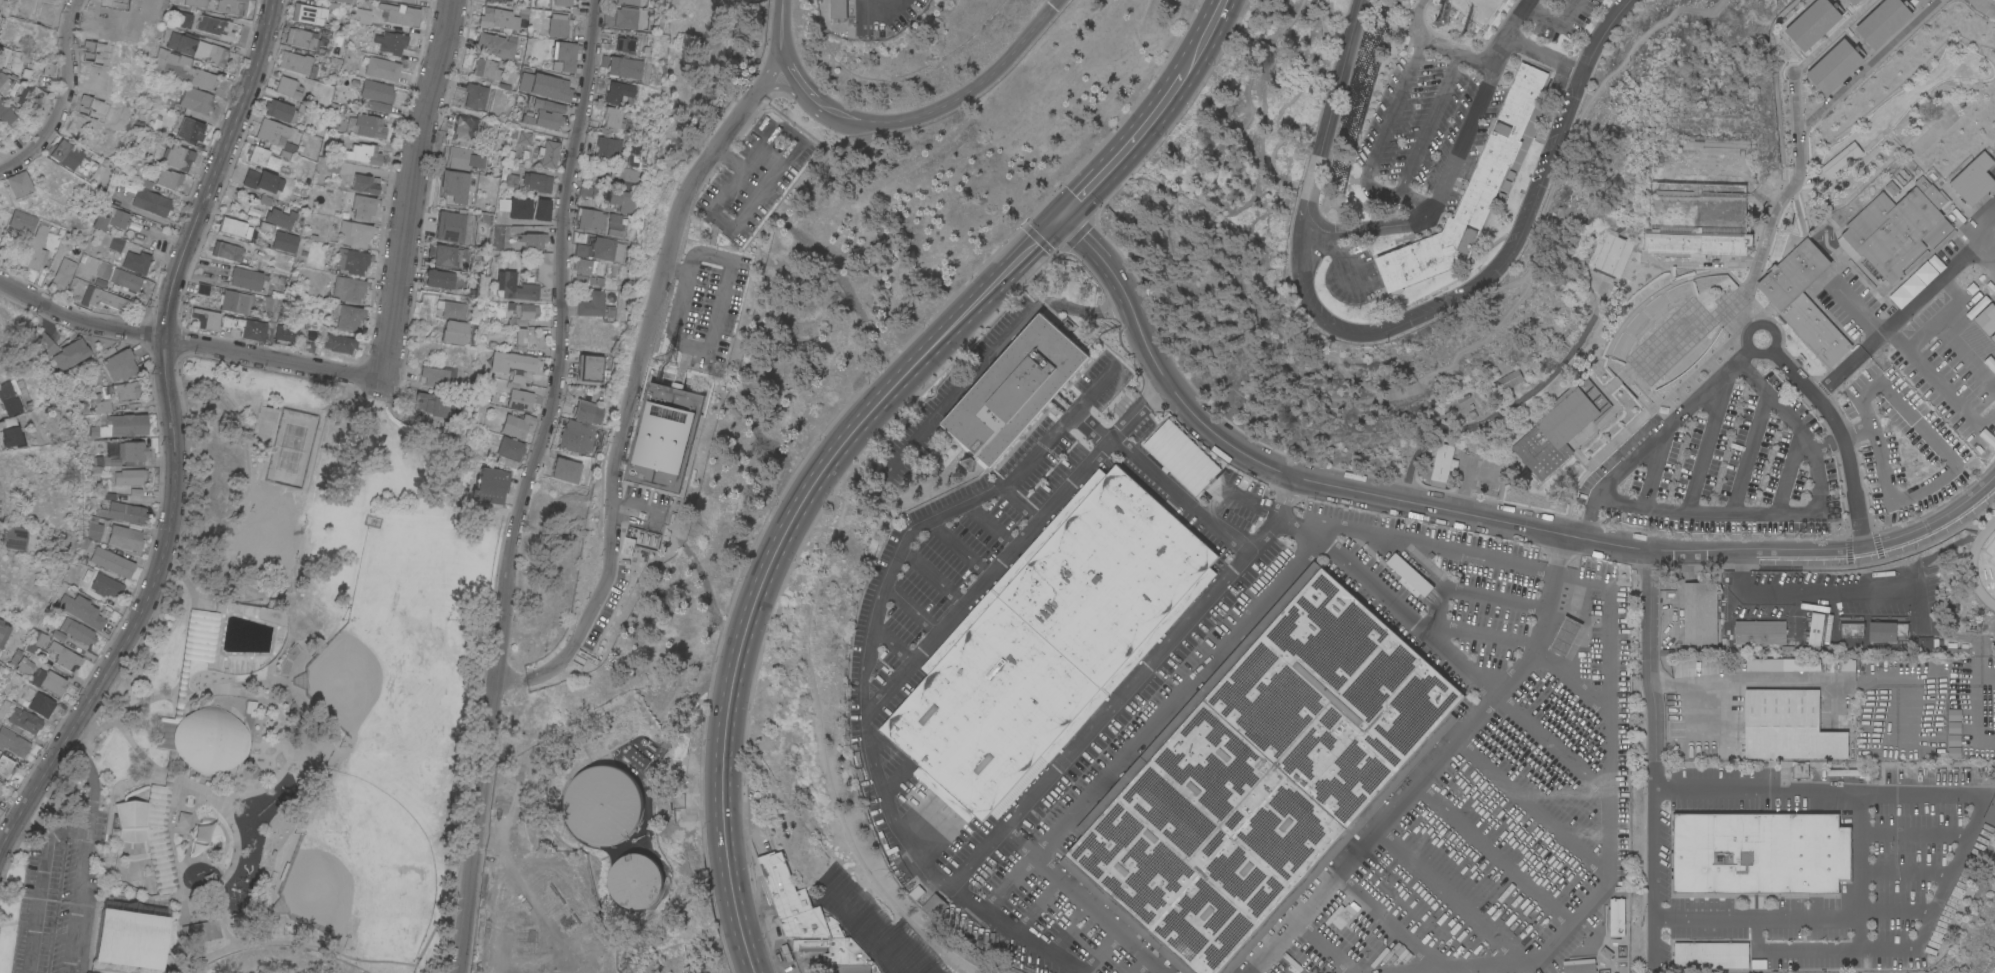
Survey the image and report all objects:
building: (497, 0)
building: (507, 0)
building: (342, 1)
building: (630, 1)
building: (1854, 1)
building: (1923, 1)
building: (195, 3)
building: (563, 3)
building: (231, 6)
building: (838, 9)
building: (1478, 9)
road: (880, 10)
building: (312, 12)
building: (362, 15)
building: (401, 15)
building: (622, 17)
building: (498, 18)
road: (1550, 18)
building: (183, 19)
road: (1417, 21)
building: (1883, 21)
building: (557, 22)
building: (1813, 23)
building: (215, 27)
road: (1507, 30)
building: (302, 38)
road: (1202, 39)
building: (182, 42)
building: (391, 42)
building: (626, 44)
building: (1761, 44)
building: (495, 45)
road: (1442, 45)
building: (200, 50)
building: (565, 54)
road: (1544, 54)
building: (217, 55)
building: (10, 58)
building: (160, 58)
road: (1477, 58)
building: (295, 62)
building: (622, 66)
building: (1835, 66)
building: (47, 68)
building: (382, 68)
building: (486, 69)
building: (187, 72)
building: (25, 73)
building: (1397, 73)
building: (10, 85)
building: (544, 86)
building: (288, 87)
building: (376, 91)
building: (15, 92)
building: (619, 93)
building: (475, 95)
road: (63, 96)
building: (194, 101)
road: (1396, 104)
building: (336, 109)
building: (280, 110)
building: (6, 112)
building: (545, 114)
road: (925, 114)
building: (615, 119)
road: (1428, 123)
building: (365, 125)
building: (465, 128)
building: (190, 130)
building: (271, 132)
building: (335, 137)
building: (523, 137)
road: (1461, 141)
building: (609, 148)
building: (287, 150)
road: (1124, 150)
building: (1363, 150)
building: (359, 153)
building: (548, 153)
building: (63, 154)
building: (634, 155)
building: (178, 156)
building: (262, 157)
building: (461, 159)
building: (332, 168)
building: (622, 177)
parking lot: (754, 177)
building: (168, 178)
building: (1973, 179)
building: (262, 180)
building: (510, 180)
building: (536, 181)
building: (1922, 183)
building: (365, 184)
building: (455, 185)
building: (1892, 188)
building: (22, 189)
road: (409, 189)
building: (590, 190)
building: (1475, 190)
road: (1395, 194)
road: (761, 195)
building: (150, 199)
road: (1779, 199)
building: (625, 201)
building: (363, 206)
building: (528, 208)
building: (123, 218)
building: (278, 218)
traffic signals: (1062, 218)
building: (591, 219)
building: (23, 221)
building: (100, 221)
building: (616, 225)
building: (450, 226)
road: (1371, 226)
building: (234, 227)
building: (0, 229)
building: (1897, 229)
building: (40, 231)
building: (354, 233)
building: (1945, 239)
building: (532, 240)
road: (1083, 240)
building: (282, 241)
building: (117, 243)
building: (1696, 243)
building: (601, 249)
building: (225, 251)
building: (1608, 252)
building: (449, 256)
building: (33, 257)
building: (281, 259)
building: (351, 260)
building: (1916, 261)
building: (136, 262)
road: (666, 265)
building: (585, 266)
building: (541, 268)
building: (596, 268)
building: (63, 274)
building: (244, 278)
building: (438, 278)
building: (125, 279)
building: (585, 280)
building: (1589, 281)
building: (99, 282)
road: (1117, 282)
building: (482, 286)
building: (347, 288)
building: (517, 288)
building: (202, 289)
building: (102, 298)
building: (1803, 299)
building: (236, 301)
building: (594, 305)
building: (450, 309)
parking lot: (704, 309)
building: (525, 310)
road: (1901, 312)
road: (1943, 313)
road: (717, 316)
building: (347, 317)
building: (205, 318)
building: (1985, 319)
building: (516, 321)
building: (230, 322)
road: (1401, 323)
road: (1759, 325)
building: (252, 330)
building: (453, 332)
building: (285, 333)
building: (1992, 337)
building: (519, 339)
road: (189, 342)
building: (337, 343)
building: (308, 345)
building: (63, 350)
road: (995, 350)
road: (1965, 354)
building: (514, 362)
building: (121, 365)
building: (591, 367)
building: (518, 376)
building: (434, 377)
building: (1507, 381)
road: (1938, 381)
building: (128, 390)
building: (1014, 390)
building: (516, 395)
building: (8, 399)
building: (101, 403)
building: (435, 403)
road: (1512, 405)
building: (587, 411)
building: (1, 423)
building: (126, 425)
building: (516, 425)
building: (1560, 427)
building: (92, 430)
building: (10, 432)
building: (665, 436)
road: (1656, 436)
road: (1842, 436)
building: (578, 437)
road: (174, 439)
building: (510, 448)
road: (1233, 448)
building: (111, 449)
building: (133, 452)
building: (1181, 457)
building: (98, 460)
building: (111, 461)
building: (1443, 464)
road: (1943, 469)
building: (563, 470)
building: (1490, 473)
building: (132, 476)
building: (488, 485)
road: (526, 485)
road: (1181, 493)
road: (1794, 510)
building: (124, 512)
road: (931, 517)
building: (94, 528)
building: (14, 537)
building: (125, 537)
building: (1530, 539)
building: (640, 540)
road: (777, 547)
building: (80, 548)
road: (1707, 552)
building: (112, 561)
track: (1972, 570)
building: (1409, 576)
building: (106, 585)
road: (1811, 590)
parking lot: (608, 603)
road: (1386, 603)
building: (1951, 606)
building: (82, 610)
building: (1700, 613)
building: (1852, 628)
road: (583, 630)
building: (78, 631)
building: (1815, 631)
building: (1887, 631)
building: (3, 632)
building: (1760, 632)
road: (1229, 634)
building: (58, 635)
building: (1566, 636)
building: (1050, 642)
building: (1925, 643)
building: (36, 644)
building: (15, 656)
building: (65, 656)
building: (1838, 663)
building: (27, 664)
building: (1781, 664)
road: (1763, 677)
road: (511, 680)
road: (899, 680)
building: (54, 682)
road: (1127, 688)
road: (691, 699)
building: (37, 702)
park: (284, 707)
building: (4, 708)
building: (1853, 710)
building: (261, 713)
building: (24, 721)
building: (1788, 726)
building: (1952, 734)
building: (13, 742)
building: (183, 754)
road: (1440, 755)
road: (1653, 758)
building: (6, 765)
building: (1800, 770)
building: (1844, 772)
building: (1262, 777)
road: (443, 778)
road: (91, 780)
building: (0, 783)
building: (0, 791)
road: (1608, 802)
building: (602, 804)
storage tank: (602, 804)
building: (1990, 812)
road: (489, 842)
building: (1760, 853)
road: (1861, 854)
building: (635, 881)
storage tank: (635, 881)
road: (41, 884)
road: (76, 899)
building: (795, 902)
road: (1933, 903)
building: (935, 905)
road: (488, 913)
road: (542, 914)
building: (1617, 916)
road: (1297, 923)
building: (200, 931)
building: (1394, 932)
road: (1122, 936)
building: (130, 938)
building: (836, 953)
building: (1711, 955)
building: (1810, 959)
road: (536, 962)
building: (1847, 964)
building: (1580, 968)

